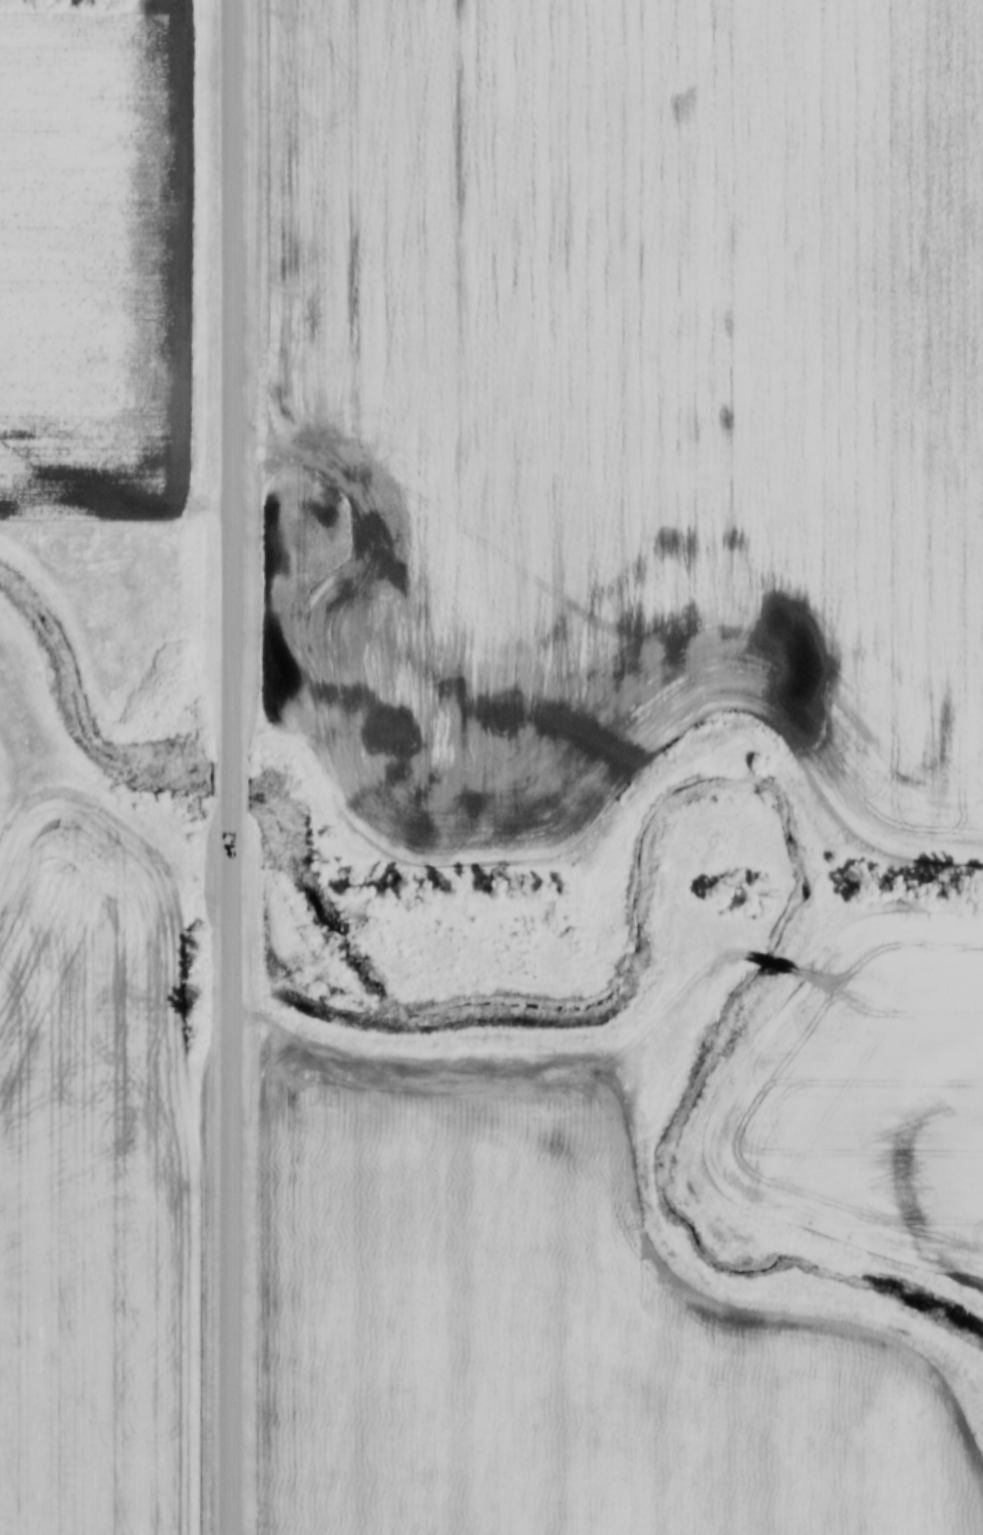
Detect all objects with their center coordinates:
road: (232, 767)

